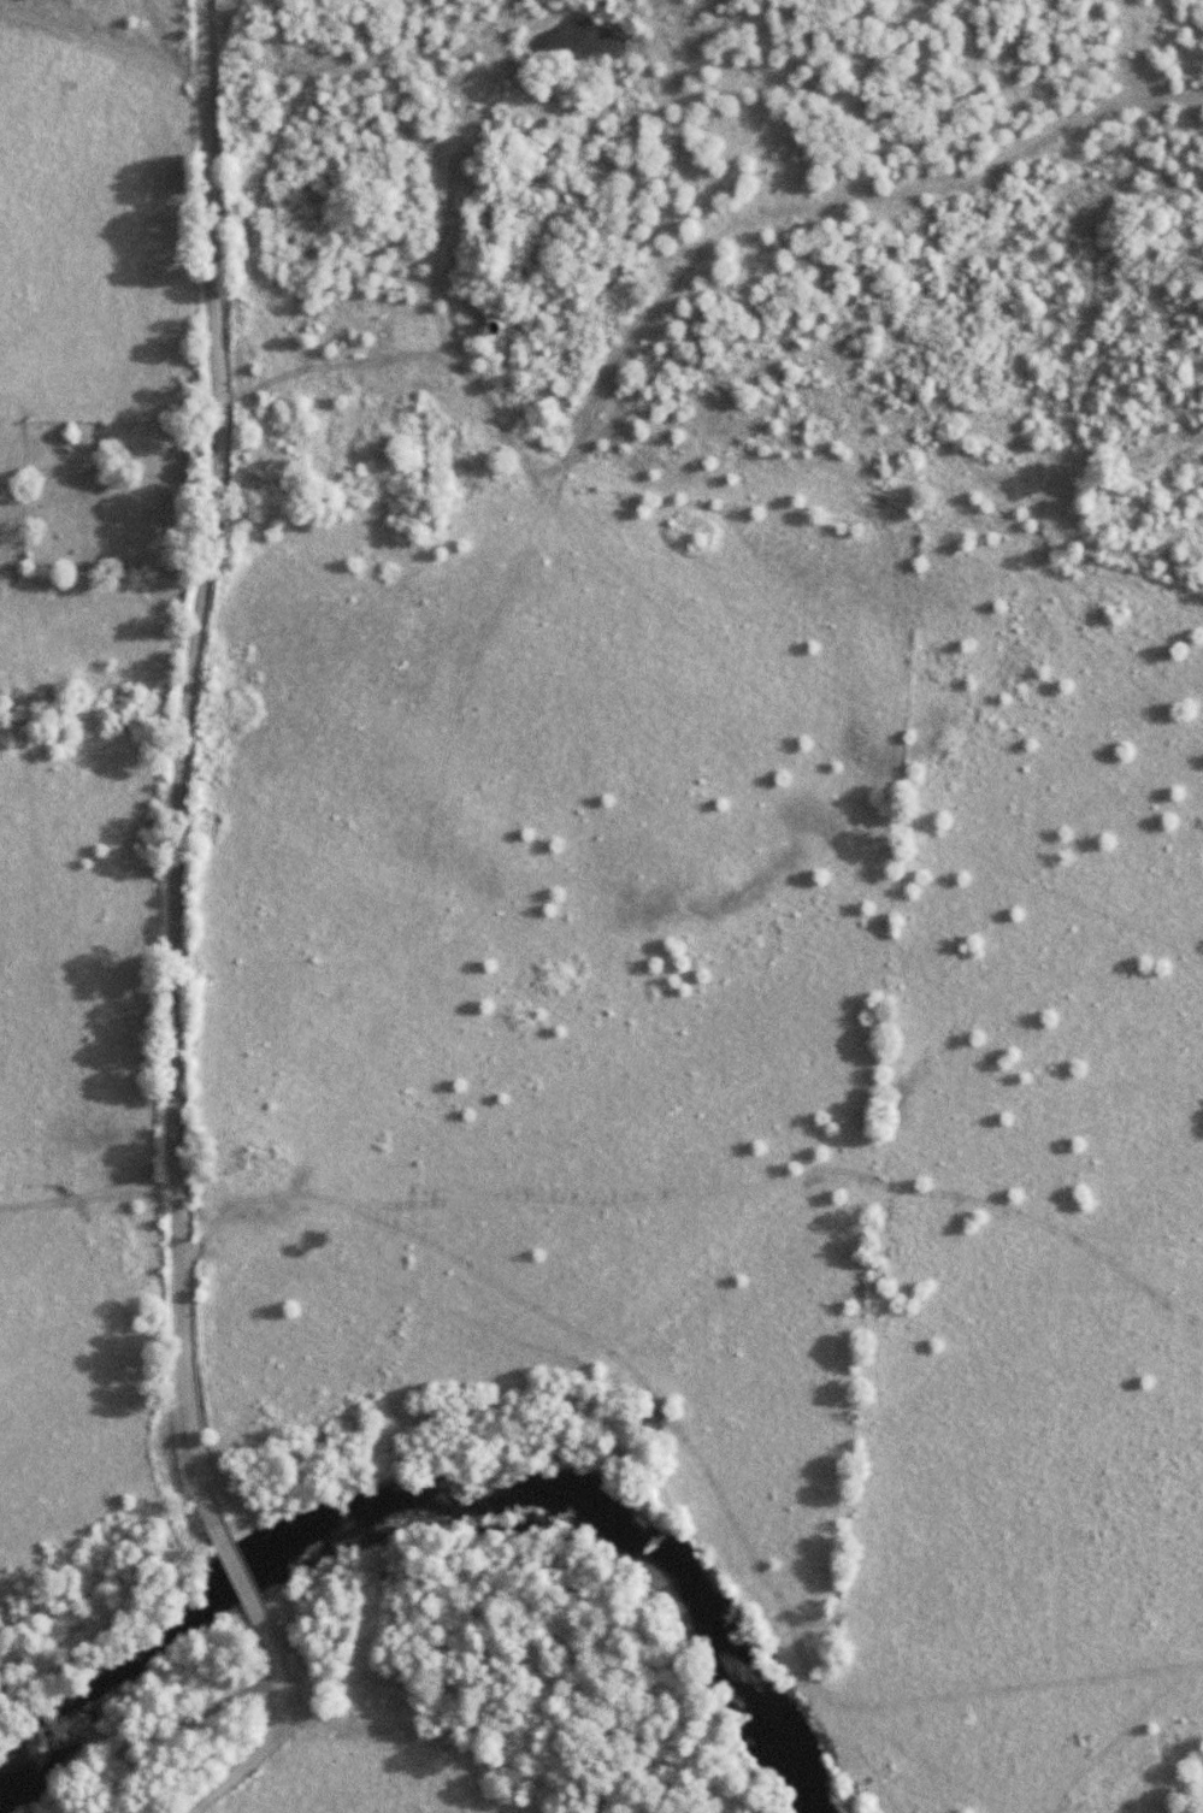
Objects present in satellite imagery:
park: (111, 500)
road: (175, 931)

